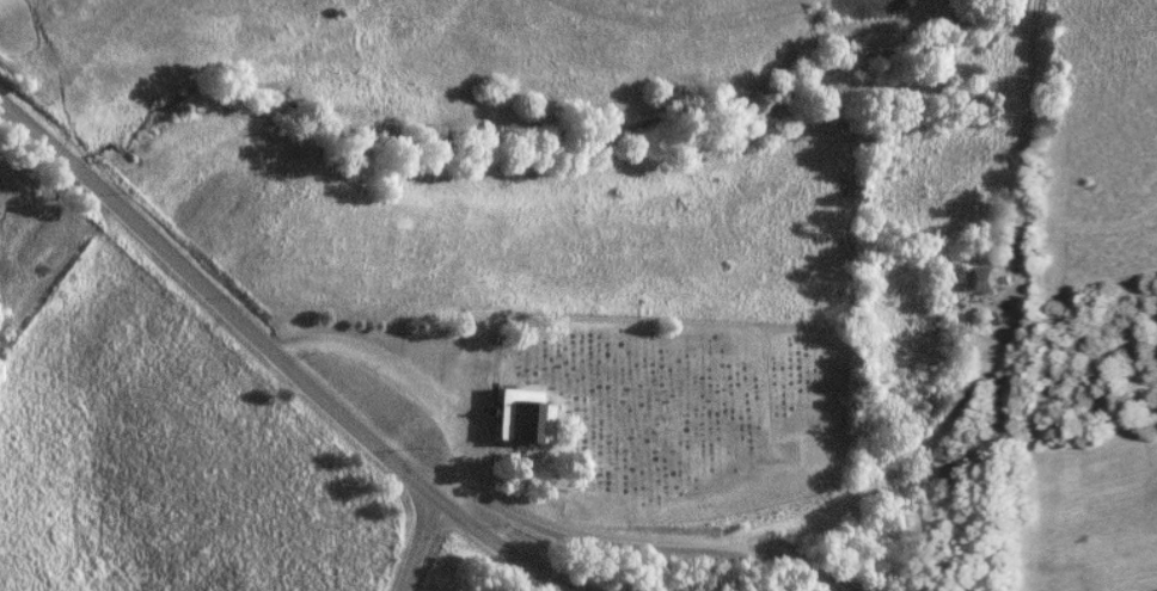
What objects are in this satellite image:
building: (977, 277)
road: (997, 352)
road: (277, 357)
road: (399, 373)
park: (655, 396)
building: (516, 415)
road: (417, 543)
road: (638, 544)

